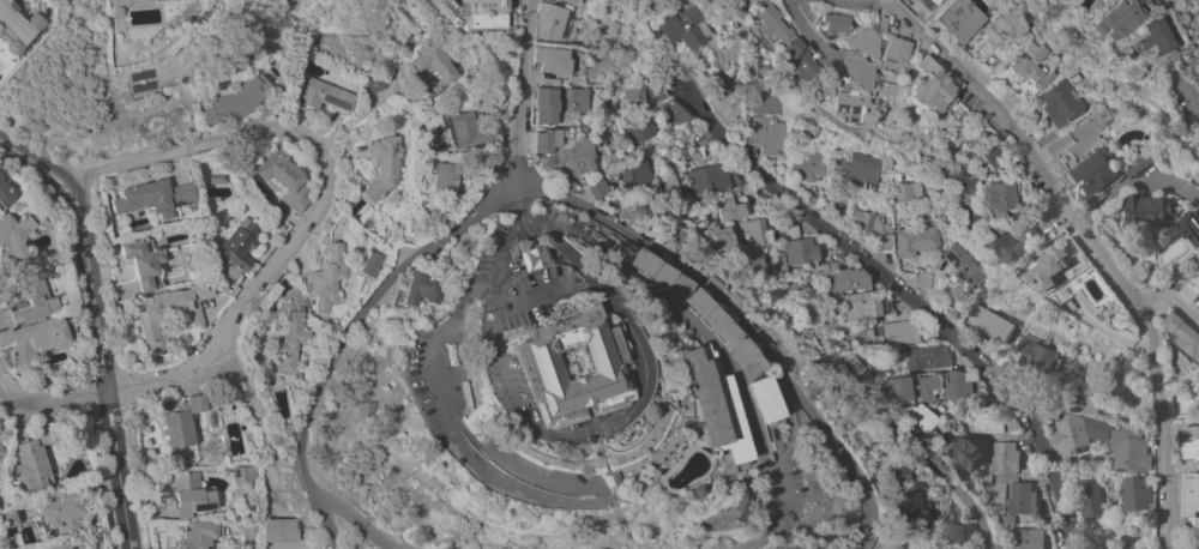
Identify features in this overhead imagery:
building: (746, 0)
building: (751, 0)
building: (921, 0)
building: (114, 1)
building: (555, 1)
road: (779, 1)
road: (857, 2)
building: (476, 14)
building: (945, 19)
building: (1103, 19)
building: (867, 20)
building: (535, 22)
building: (766, 23)
building: (824, 25)
building: (681, 26)
building: (16, 28)
road: (801, 29)
building: (472, 36)
building: (1146, 36)
building: (988, 40)
building: (884, 52)
building: (1134, 52)
road: (1168, 52)
building: (852, 54)
building: (540, 59)
building: (793, 60)
building: (397, 61)
building: (1020, 64)
building: (428, 66)
building: (754, 68)
building: (823, 79)
building: (538, 82)
building: (370, 83)
road: (510, 88)
building: (921, 88)
building: (657, 91)
building: (324, 96)
building: (628, 97)
building: (565, 99)
building: (234, 101)
building: (724, 101)
building: (763, 102)
building: (1053, 104)
building: (531, 105)
building: (843, 105)
building: (673, 113)
building: (1097, 119)
building: (457, 131)
building: (633, 131)
building: (766, 134)
building: (1198, 134)
road: (312, 137)
building: (427, 138)
building: (535, 141)
building: (987, 150)
road: (23, 155)
building: (960, 157)
building: (565, 158)
building: (468, 161)
building: (1143, 163)
building: (380, 167)
building: (646, 167)
building: (808, 167)
building: (858, 170)
building: (1093, 171)
building: (625, 173)
building: (953, 173)
building: (281, 177)
building: (438, 177)
building: (217, 180)
building: (705, 180)
road: (1144, 180)
building: (664, 181)
building: (586, 188)
building: (964, 189)
road: (78, 191)
building: (905, 191)
building: (4, 195)
building: (811, 195)
road: (65, 197)
building: (153, 197)
building: (748, 197)
building: (998, 197)
road: (507, 200)
building: (1149, 206)
building: (837, 207)
building: (725, 209)
road: (1087, 212)
building: (966, 217)
road: (516, 224)
road: (537, 224)
building: (1191, 227)
building: (870, 228)
building: (1035, 231)
building: (748, 233)
building: (16, 234)
building: (712, 239)
building: (915, 240)
road: (1096, 240)
building: (668, 241)
building: (1002, 243)
building: (796, 245)
building: (236, 248)
building: (523, 258)
building: (369, 261)
building: (745, 261)
building: (143, 263)
building: (963, 267)
building: (1019, 269)
building: (1053, 272)
building: (327, 277)
building: (923, 279)
building: (842, 280)
building: (1192, 288)
building: (416, 290)
road: (1174, 296)
road: (528, 297)
road: (910, 298)
building: (25, 302)
building: (758, 302)
road: (368, 304)
road: (592, 304)
building: (863, 304)
building: (168, 312)
building: (692, 312)
road: (95, 313)
road: (734, 320)
building: (989, 322)
road: (480, 331)
building: (289, 332)
road: (427, 332)
building: (1182, 332)
building: (899, 333)
building: (36, 339)
building: (1037, 355)
building: (923, 356)
building: (850, 363)
road: (722, 367)
building: (525, 368)
road: (171, 381)
building: (948, 385)
road: (2, 387)
building: (892, 390)
road: (2, 392)
road: (245, 394)
building: (1084, 398)
road: (56, 399)
building: (757, 399)
building: (704, 405)
building: (1049, 412)
building: (917, 417)
building: (988, 420)
road: (578, 421)
building: (181, 429)
building: (287, 429)
road: (573, 429)
building: (941, 441)
building: (1070, 441)
building: (1189, 441)
road: (586, 446)
building: (1, 451)
building: (964, 452)
road: (927, 458)
building: (1001, 458)
building: (31, 460)
road: (120, 472)
road: (595, 472)
building: (245, 473)
building: (1001, 478)
building: (598, 479)
road: (597, 481)
building: (686, 491)
building: (1135, 491)
building: (1191, 491)
building: (189, 494)
building: (1086, 494)
road: (603, 497)
road: (596, 501)
building: (752, 501)
building: (1018, 501)
road: (546, 502)
building: (904, 503)
road: (341, 507)
road: (318, 511)
building: (719, 512)
building: (62, 514)
road: (763, 517)
building: (6, 519)
building: (1192, 526)
building: (278, 530)
building: (249, 531)
building: (951, 532)
building: (200, 535)
road: (376, 538)
building: (1026, 538)
building: (880, 539)
building: (55, 545)
building: (934, 547)

